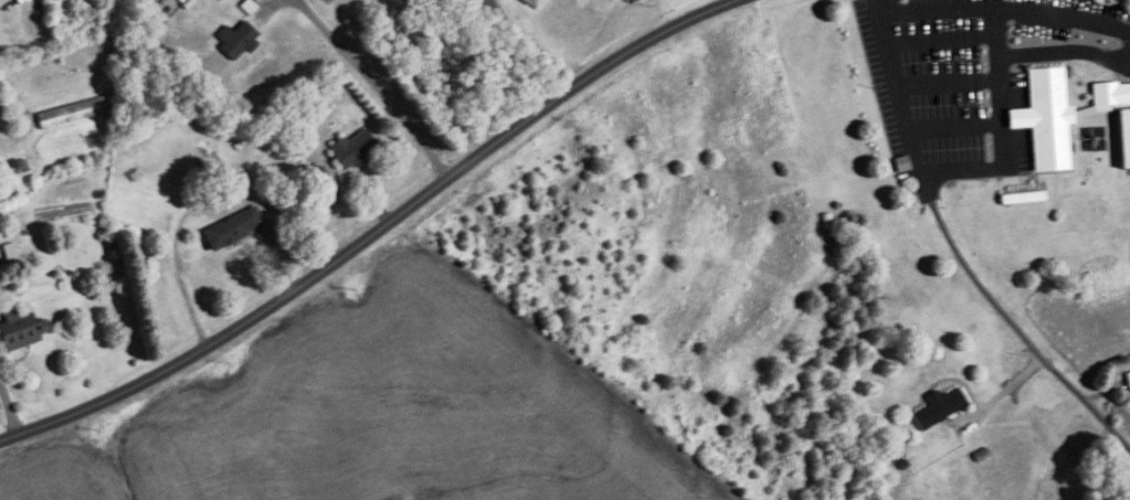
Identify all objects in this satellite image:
building: (327, 0)
building: (527, 3)
road: (1001, 9)
building: (236, 40)
road: (531, 44)
road: (367, 74)
building: (72, 113)
building: (1066, 117)
road: (1000, 127)
building: (351, 148)
road: (925, 190)
road: (198, 200)
building: (233, 228)
road: (370, 230)
building: (19, 331)
building: (1128, 380)
road: (1003, 391)
building: (939, 407)

